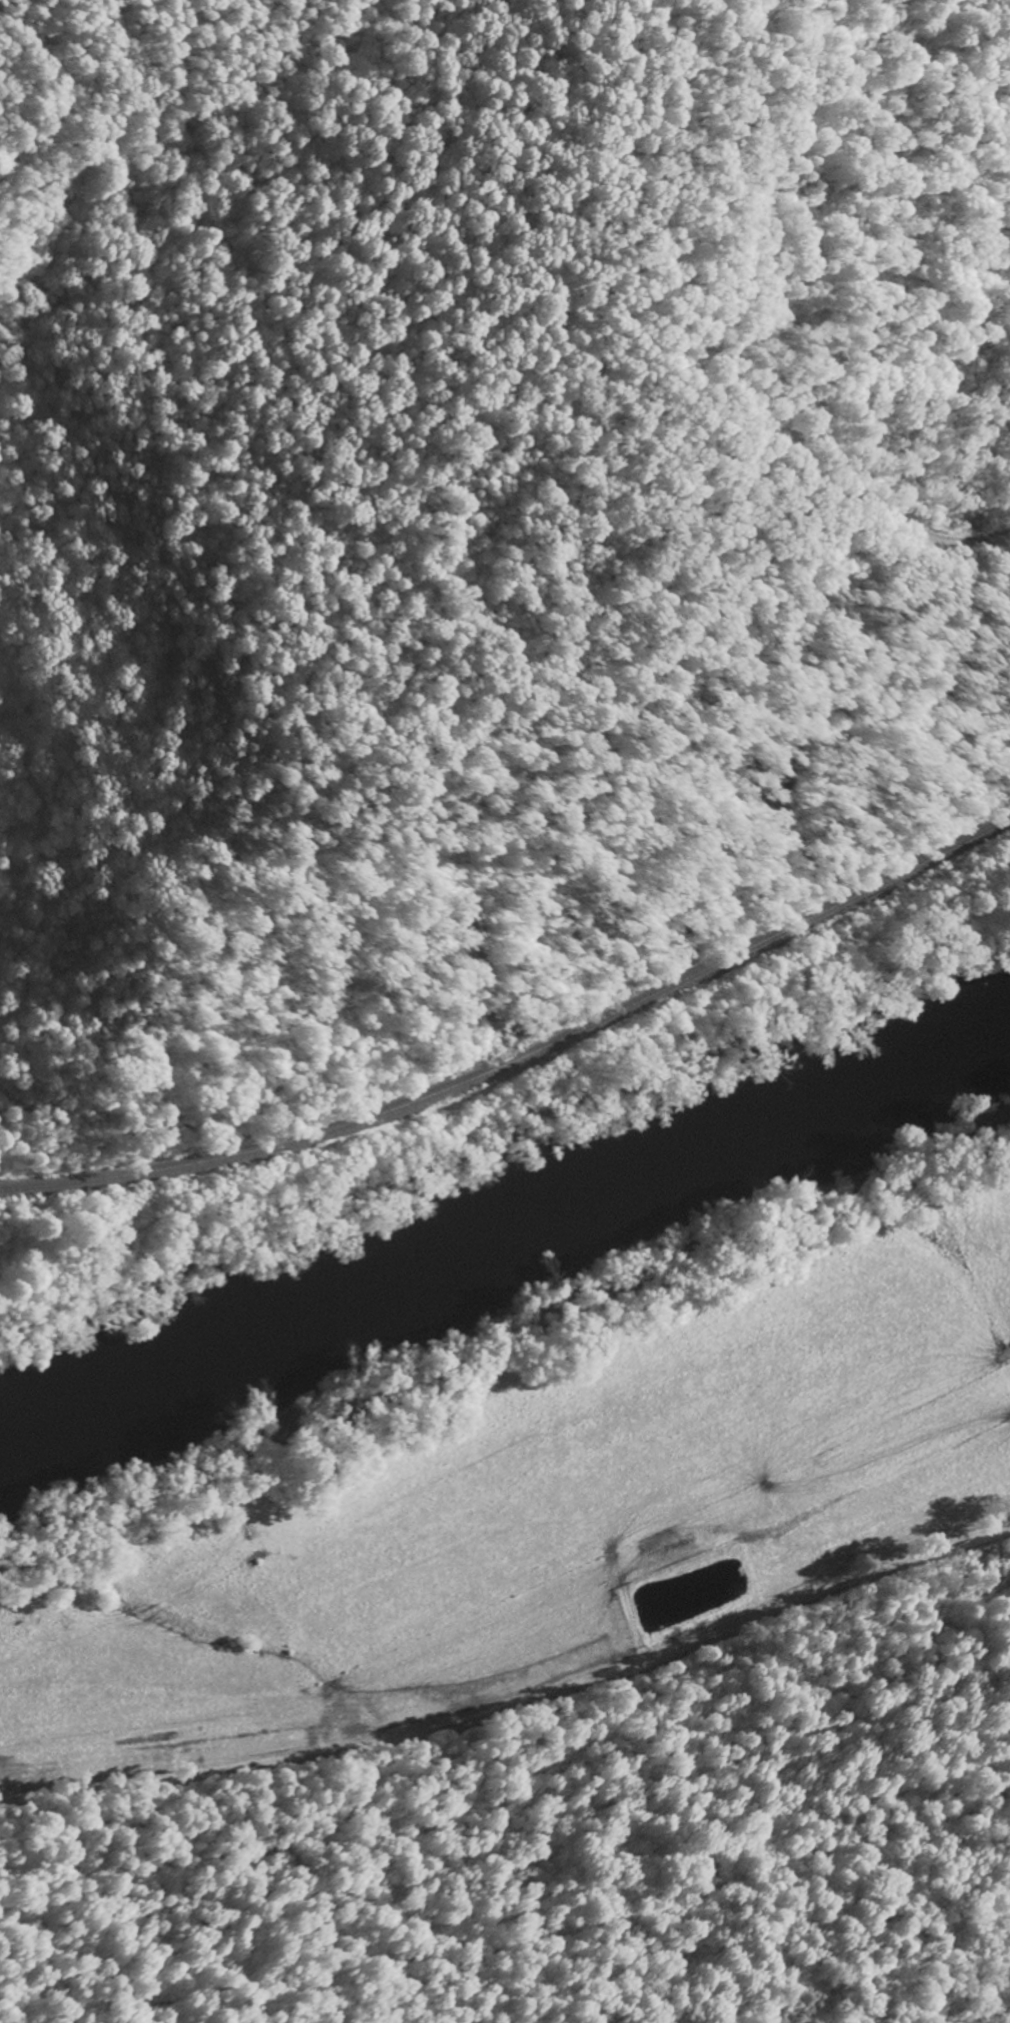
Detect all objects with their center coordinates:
road: (752, 147)
road: (786, 416)
road: (932, 534)
railway: (518, 1046)
river: (505, 1238)
road: (515, 1710)

